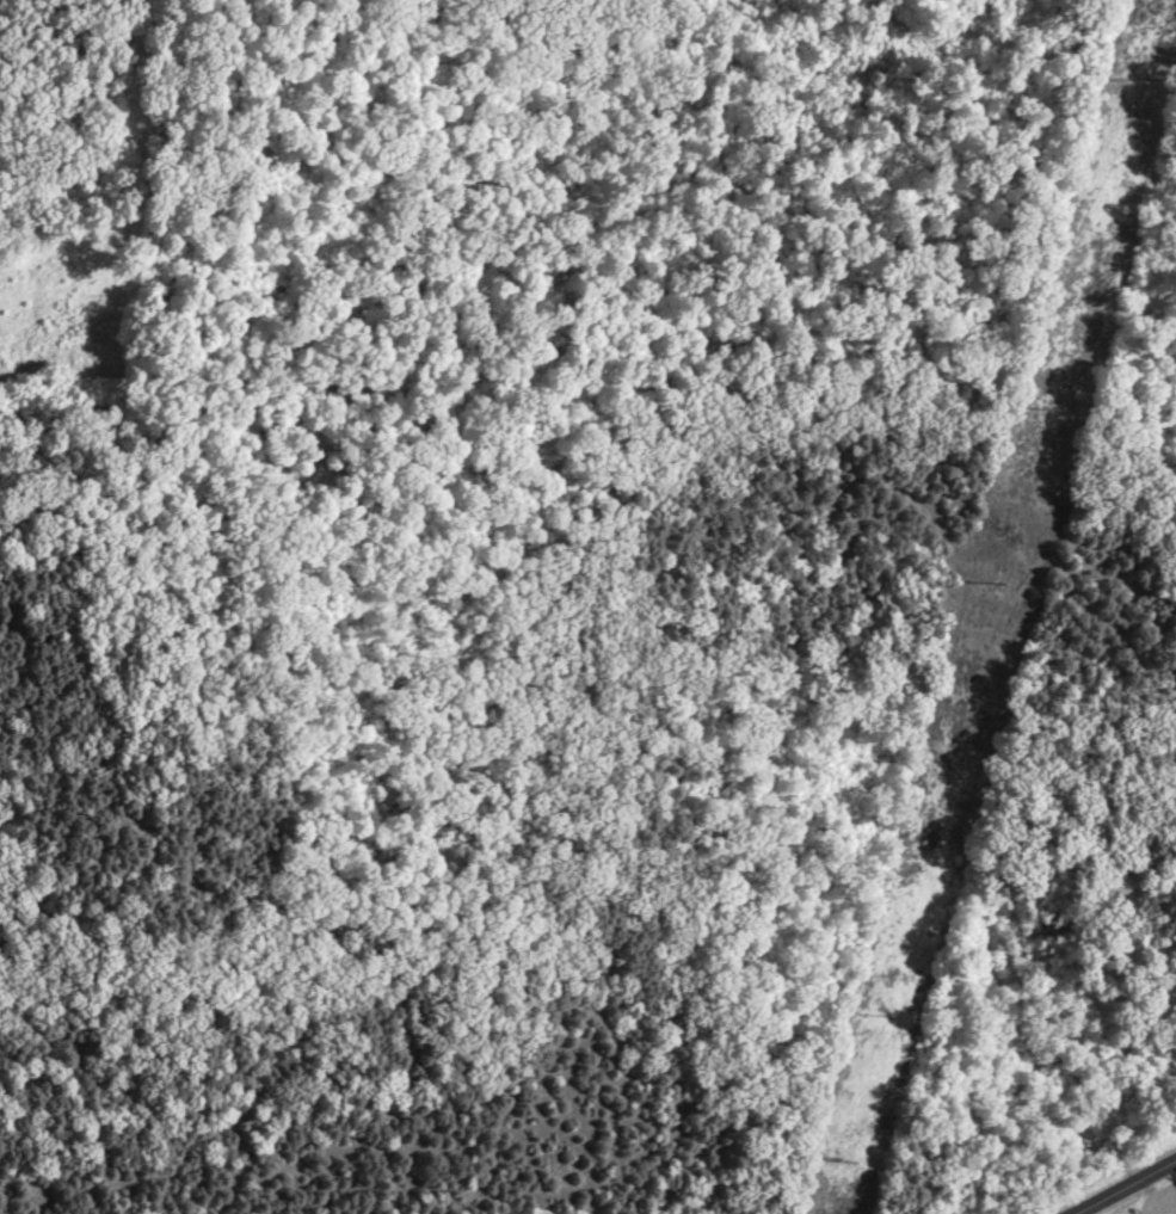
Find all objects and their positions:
power tower: (1133, 82)
power tower: (1043, 406)
power tower: (999, 584)
power tower: (881, 1016)
power tower: (845, 1159)
road: (1132, 1190)

